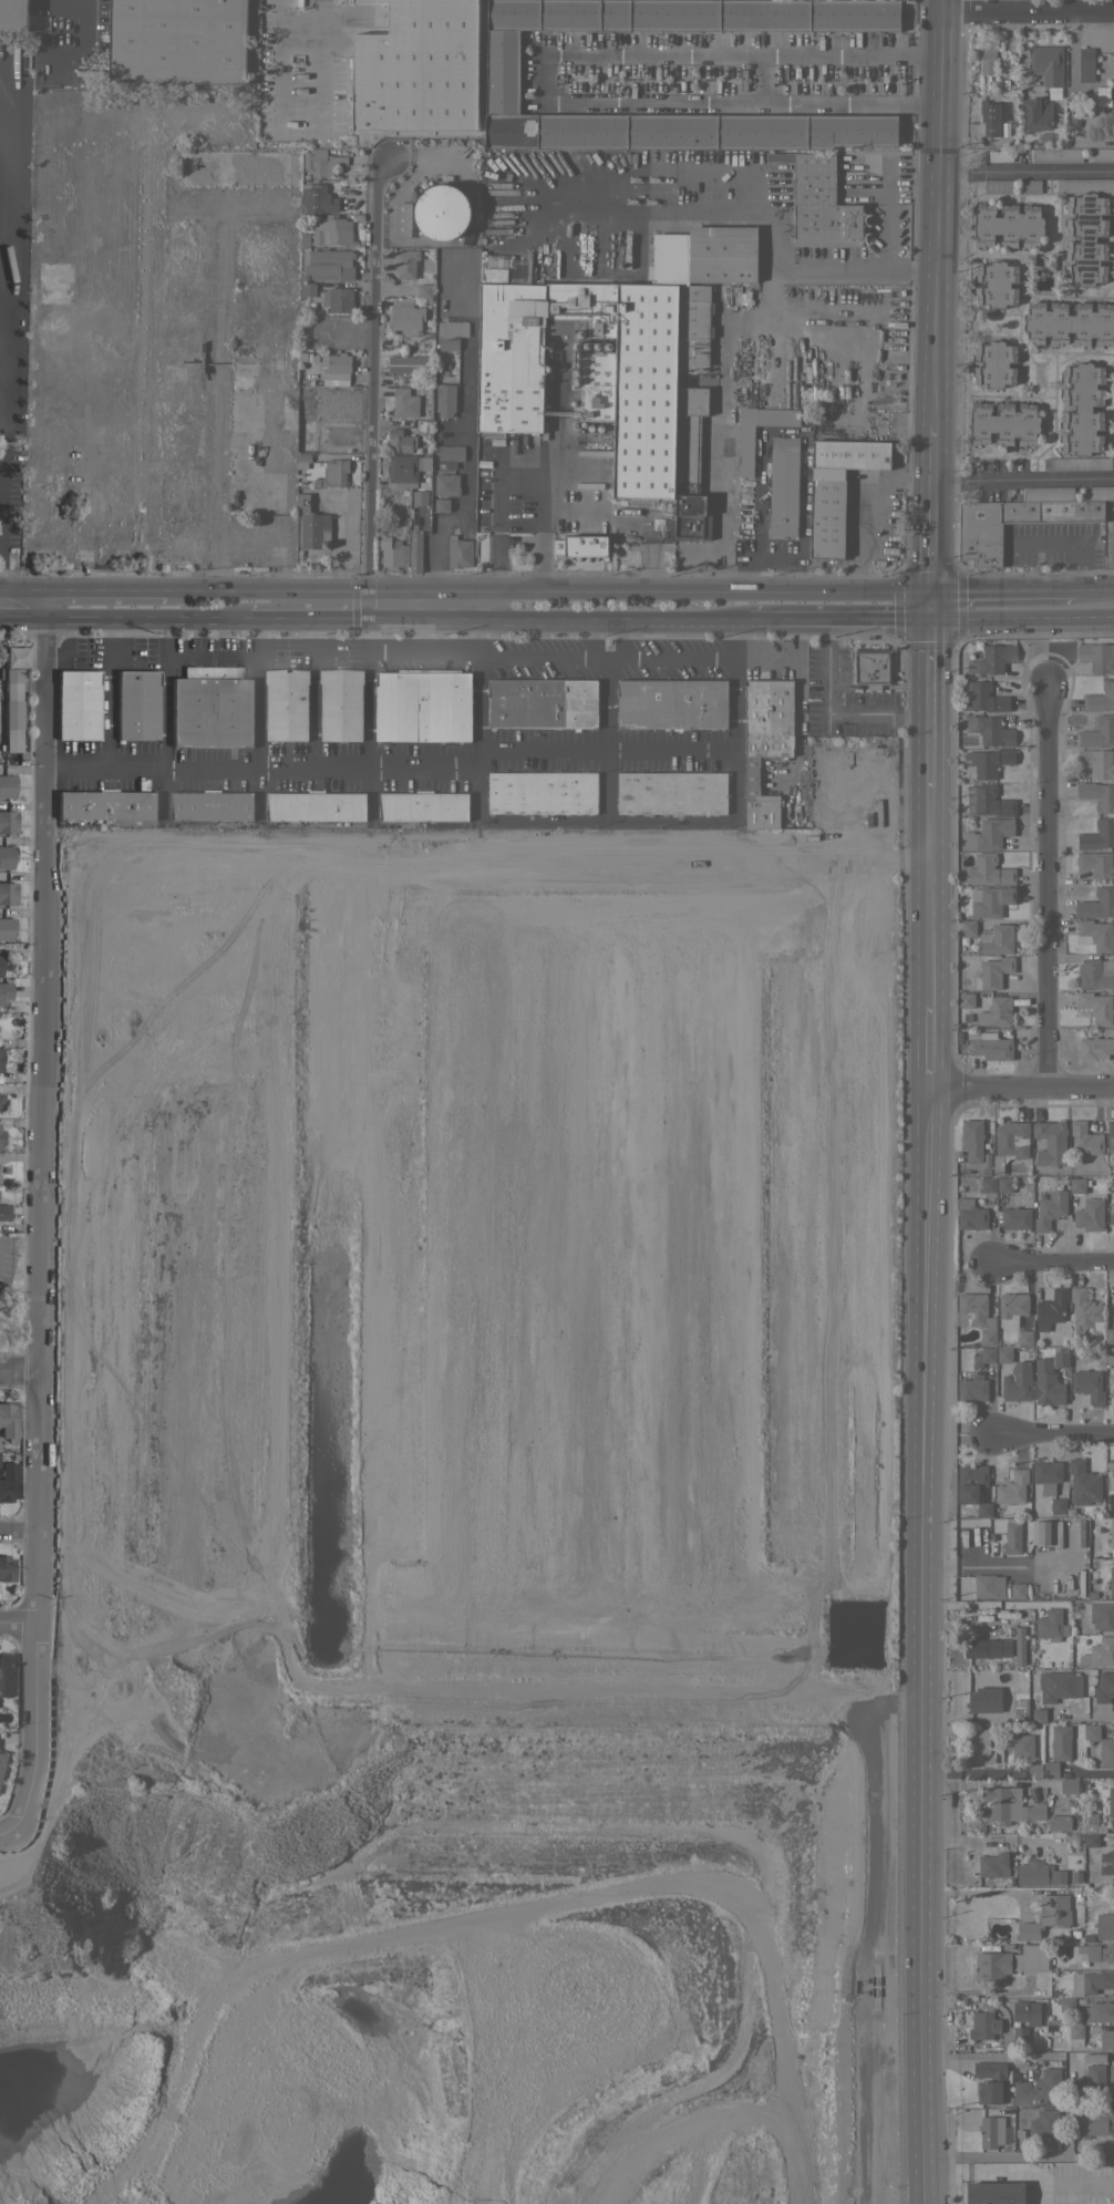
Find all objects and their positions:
road: (1028, 11)
building: (13, 14)
building: (39, 22)
road: (74, 24)
building: (177, 41)
road: (743, 55)
building: (988, 61)
building: (1085, 62)
road: (316, 65)
building: (1048, 66)
road: (277, 68)
building: (417, 69)
building: (502, 72)
road: (546, 76)
road: (742, 102)
building: (1036, 114)
building: (990, 117)
building: (1103, 154)
building: (1056, 155)
building: (321, 162)
building: (237, 167)
road: (1025, 172)
building: (1085, 185)
building: (317, 198)
building: (819, 203)
road: (692, 208)
building: (442, 210)
storage tank: (442, 210)
road: (937, 214)
building: (402, 219)
building: (1008, 225)
building: (328, 231)
building: (1086, 238)
building: (718, 253)
building: (405, 262)
building: (1048, 262)
building: (328, 265)
road: (863, 268)
building: (997, 285)
building: (308, 289)
building: (424, 290)
building: (338, 299)
building: (580, 308)
road: (1, 312)
building: (405, 317)
building: (1069, 322)
building: (289, 331)
building: (450, 334)
building: (277, 356)
building: (308, 356)
building: (510, 358)
building: (409, 363)
building: (994, 363)
building: (336, 368)
building: (596, 387)
building: (646, 390)
road: (370, 392)
building: (445, 399)
building: (404, 402)
building: (1082, 408)
road: (218, 409)
building: (691, 409)
building: (288, 412)
building: (1003, 423)
road: (467, 437)
building: (401, 440)
building: (241, 445)
building: (745, 451)
building: (450, 455)
building: (302, 460)
building: (1077, 462)
building: (406, 468)
building: (333, 473)
road: (520, 477)
road: (1022, 477)
building: (446, 484)
building: (784, 487)
building: (837, 490)
building: (1098, 492)
building: (48, 493)
building: (1048, 493)
building: (420, 497)
building: (441, 504)
road: (870, 508)
road: (591, 514)
building: (312, 524)
road: (930, 524)
building: (979, 540)
building: (581, 545)
building: (393, 552)
building: (415, 552)
building: (458, 552)
road: (0, 566)
road: (1092, 587)
traffic signals: (929, 588)
road: (1000, 588)
road: (22, 590)
road: (547, 590)
road: (105, 591)
road: (44, 605)
road: (22, 618)
road: (74, 619)
road: (1021, 619)
road: (174, 620)
road: (305, 620)
road: (557, 621)
road: (838, 621)
traffic signals: (928, 621)
road: (423, 651)
building: (1096, 656)
road: (212, 658)
building: (14, 659)
building: (992, 659)
road: (608, 660)
building: (871, 667)
building: (12, 676)
road: (606, 686)
road: (481, 689)
road: (258, 692)
road: (105, 693)
road: (165, 693)
road: (316, 693)
road: (367, 693)
building: (981, 697)
building: (1101, 698)
building: (541, 702)
building: (286, 703)
building: (671, 703)
building: (341, 704)
building: (423, 704)
road: (928, 704)
building: (78, 706)
building: (136, 706)
building: (212, 708)
road: (833, 710)
building: (12, 714)
building: (990, 730)
building: (1097, 732)
building: (765, 743)
building: (987, 762)
building: (1096, 762)
road: (451, 764)
building: (7, 786)
building: (541, 792)
building: (671, 792)
building: (1097, 794)
building: (988, 801)
building: (106, 805)
building: (212, 805)
building: (314, 805)
building: (423, 805)
building: (8, 822)
building: (988, 834)
building: (1097, 835)
building: (7, 856)
building: (1096, 864)
building: (988, 871)
road: (1043, 884)
building: (8, 894)
building: (990, 900)
building: (1097, 903)
building: (968, 927)
building: (6, 928)
building: (1097, 934)
building: (997, 939)
building: (0, 965)
building: (992, 972)
building: (1092, 975)
building: (4, 992)
building: (966, 999)
building: (1096, 1007)
building: (997, 1011)
building: (991, 1047)
building: (1095, 1047)
building: (0, 1059)
road: (1021, 1085)
building: (1, 1101)
building: (1110, 1132)
building: (1051, 1136)
building: (1, 1137)
building: (1085, 1139)
building: (972, 1140)
building: (1010, 1143)
building: (986, 1158)
building: (984, 1171)
building: (988, 1184)
building: (1004, 1184)
building: (1077, 1185)
building: (959, 1187)
building: (1050, 1208)
building: (4, 1212)
building: (970, 1214)
building: (1090, 1215)
building: (1112, 1215)
building: (1015, 1218)
road: (37, 1228)
road: (1050, 1264)
park: (12, 1292)
building: (1113, 1305)
building: (1011, 1308)
building: (1050, 1309)
building: (1085, 1311)
building: (974, 1315)
building: (1113, 1320)
building: (1110, 1336)
building: (1024, 1338)
building: (1004, 1355)
building: (983, 1356)
building: (1110, 1356)
road: (18, 1369)
building: (1112, 1372)
building: (1050, 1377)
building: (1017, 1381)
building: (1113, 1381)
building: (1087, 1384)
building: (972, 1389)
building: (1112, 1392)
building: (8, 1421)
road: (1053, 1431)
building: (1046, 1475)
building: (8, 1481)
building: (971, 1482)
building: (1110, 1482)
building: (1083, 1483)
building: (1012, 1487)
road: (926, 1496)
building: (1058, 1505)
building: (983, 1510)
quarry: (419, 1521)
road: (18, 1526)
building: (1043, 1532)
building: (1111, 1534)
building: (1011, 1536)
road: (994, 1564)
building: (7, 1568)
building: (1111, 1582)
building: (988, 1586)
building: (1034, 1587)
building: (1018, 1590)
building: (1101, 1614)
road: (17, 1625)
building: (1050, 1625)
building: (1019, 1647)
building: (981, 1648)
building: (1098, 1652)
building: (1045, 1662)
building: (6, 1675)
building: (1023, 1679)
building: (1104, 1687)
building: (1056, 1697)
building: (982, 1698)
road: (1083, 1717)
building: (1091, 1731)
building: (1060, 1742)
building: (1022, 1745)
building: (979, 1747)
building: (1106, 1752)
building: (2, 1762)
building: (1034, 1770)
building: (1051, 1770)
road: (970, 1771)
road: (1091, 1772)
building: (1044, 1782)
building: (1064, 1788)
building: (1111, 1801)
building: (1011, 1805)
building: (1113, 1823)
building: (1059, 1824)
building: (1090, 1827)
road: (6, 1836)
building: (1091, 1840)
road: (994, 1842)
building: (1112, 1863)
building: (993, 1864)
building: (1033, 1873)
building: (1059, 1876)
building: (1075, 1876)
building: (1079, 1894)
building: (1045, 1916)
building: (1105, 1926)
building: (1089, 1938)
building: (1007, 1946)
building: (1097, 1951)
building: (1031, 1957)
building: (992, 1966)
building: (1096, 1980)
building: (1053, 1991)
building: (1066, 2004)
building: (1098, 2011)
building: (1027, 2012)
building: (1051, 2021)
building: (983, 2025)
building: (1055, 2027)
building: (1019, 2032)
building: (1075, 2035)
building: (1106, 2039)
road: (1002, 2057)
building: (1111, 2079)
building: (991, 2081)
building: (1089, 2081)
building: (1039, 2089)
building: (1044, 2122)
building: (1093, 2122)
building: (990, 2131)
building: (1019, 2133)
road: (1018, 2154)
building: (994, 2193)

